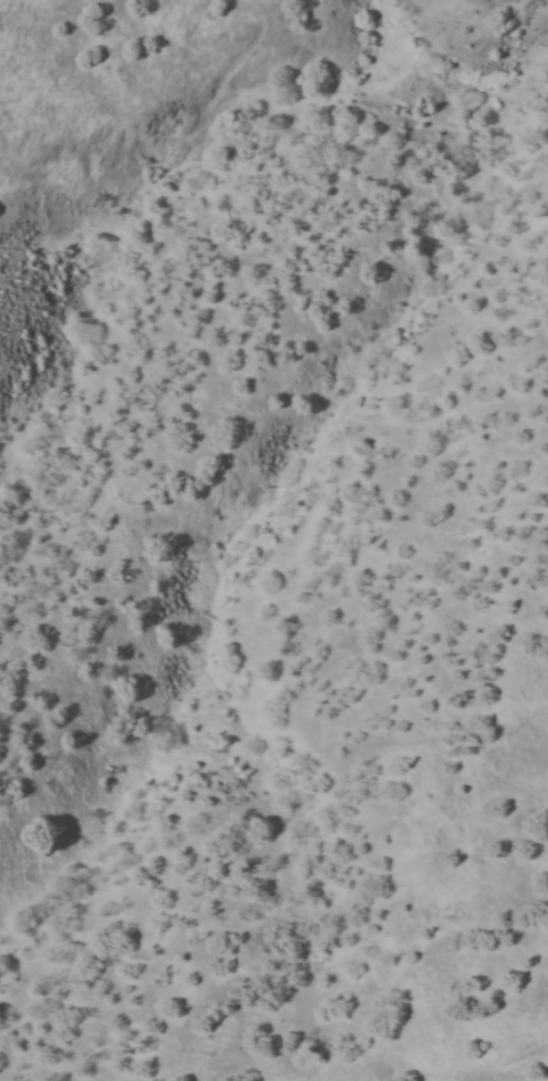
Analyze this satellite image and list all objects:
park: (516, 11)

